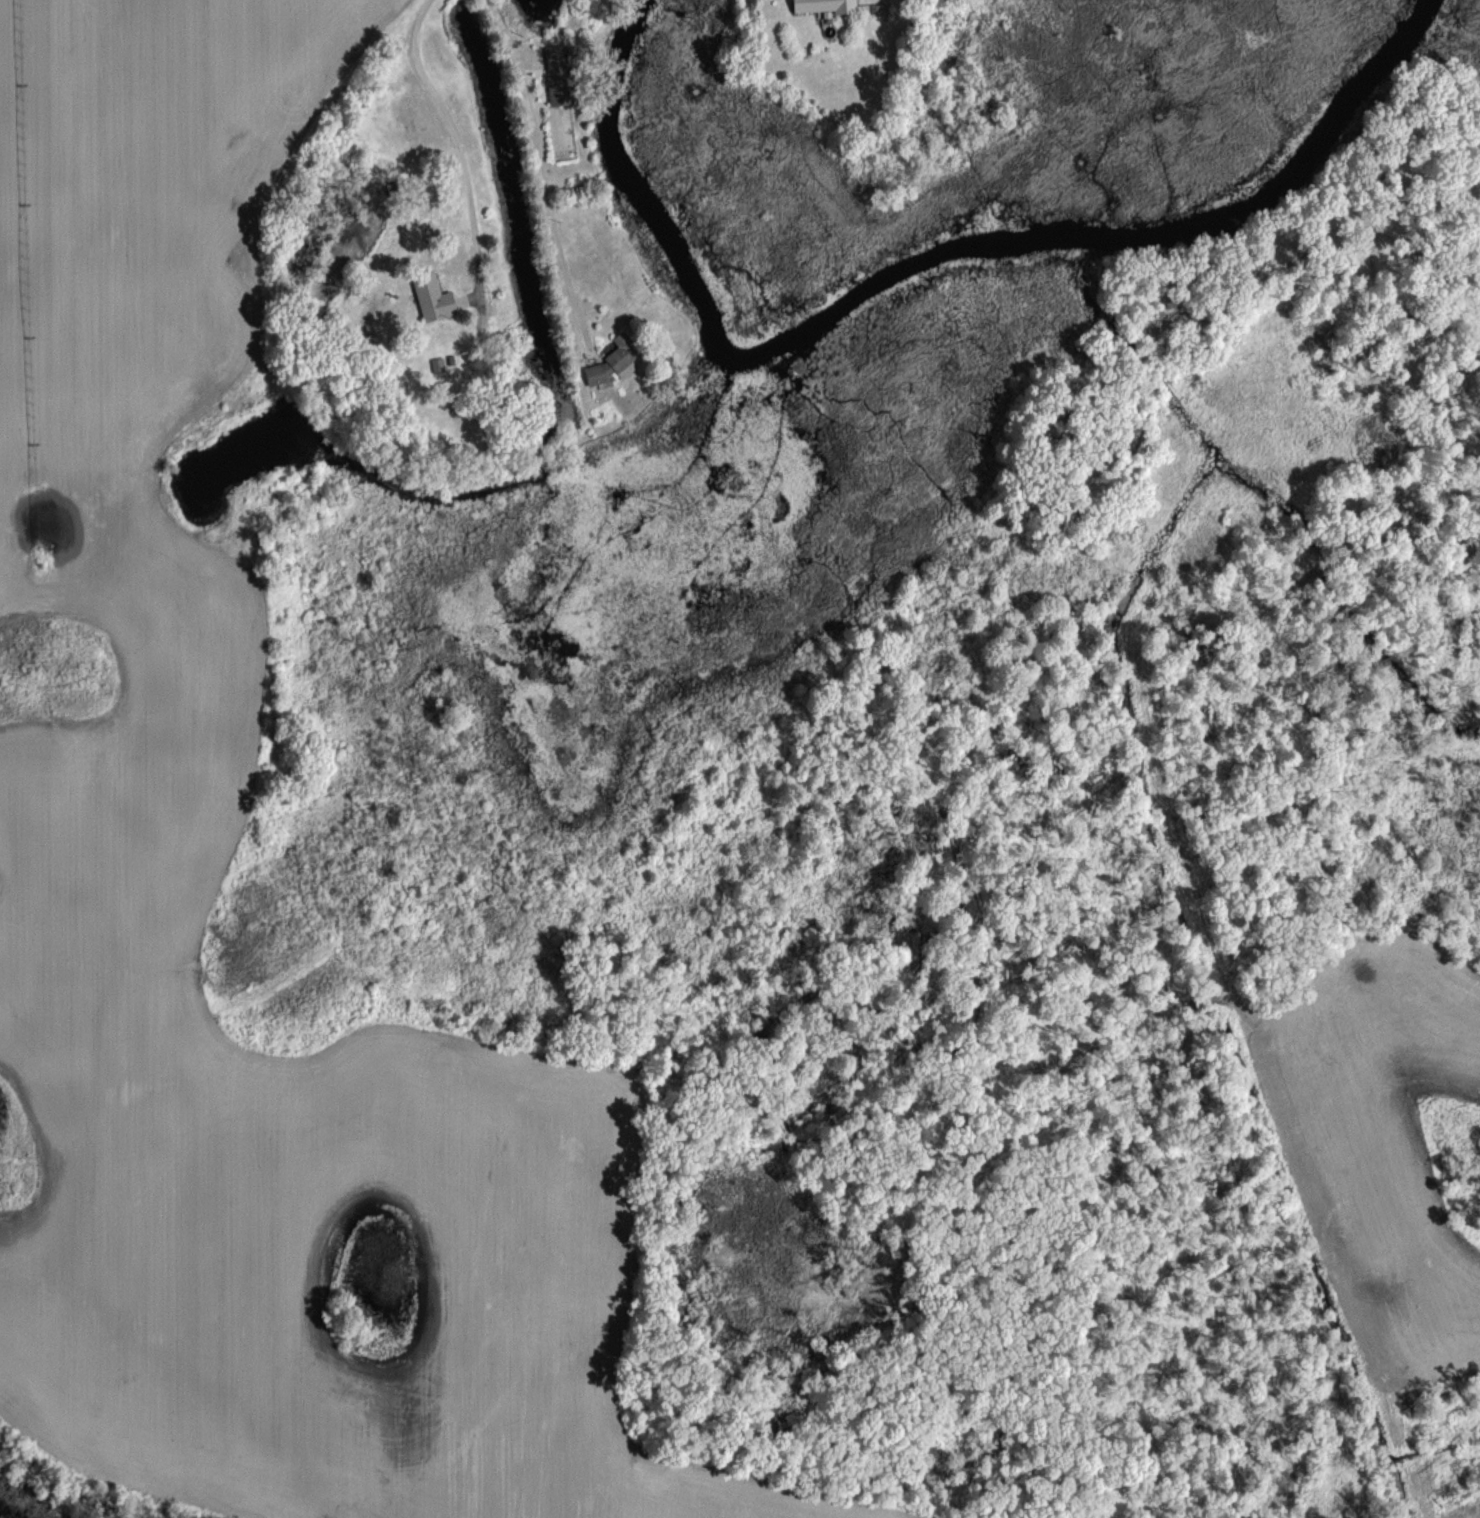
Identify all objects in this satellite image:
building: (824, 6)
building: (558, 78)
road: (525, 93)
building: (409, 120)
road: (459, 152)
river: (921, 260)
road: (564, 269)
building: (433, 298)

